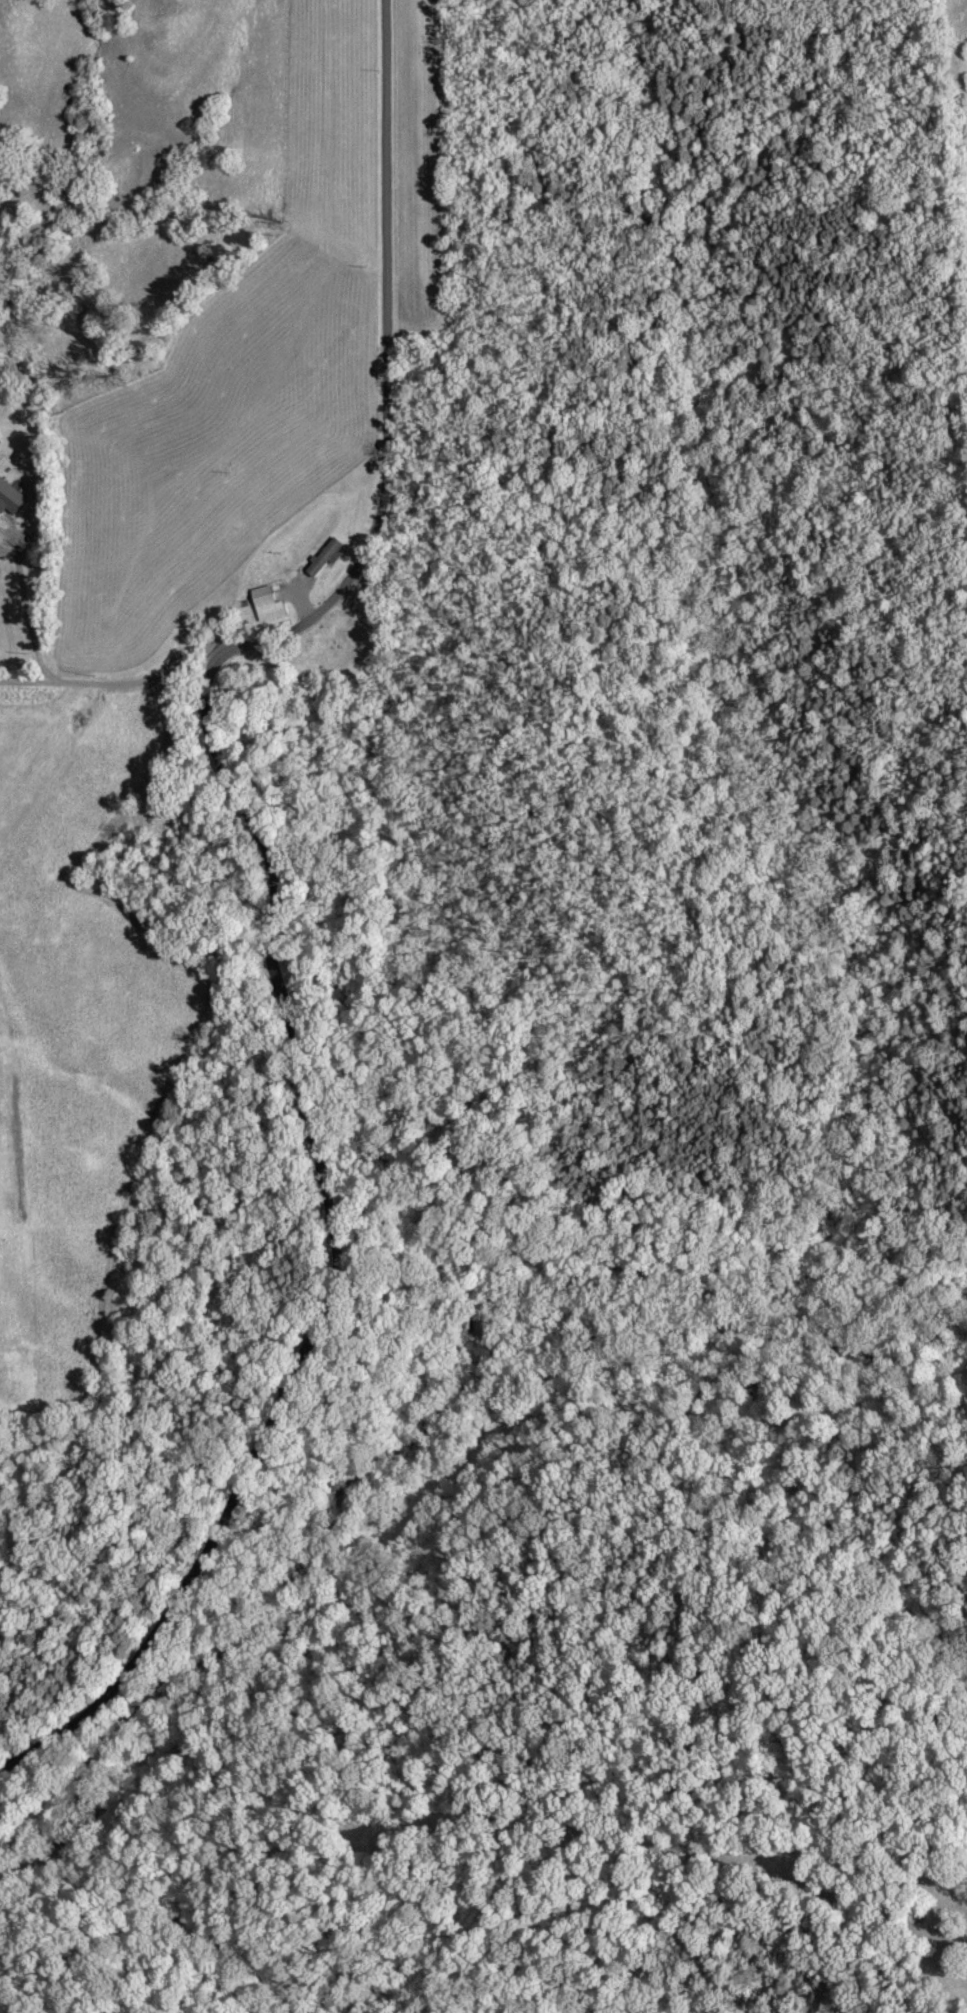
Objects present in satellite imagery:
road: (386, 366)
building: (11, 498)
building: (328, 557)
building: (267, 605)
road: (28, 609)
road: (119, 690)
road: (320, 1249)

